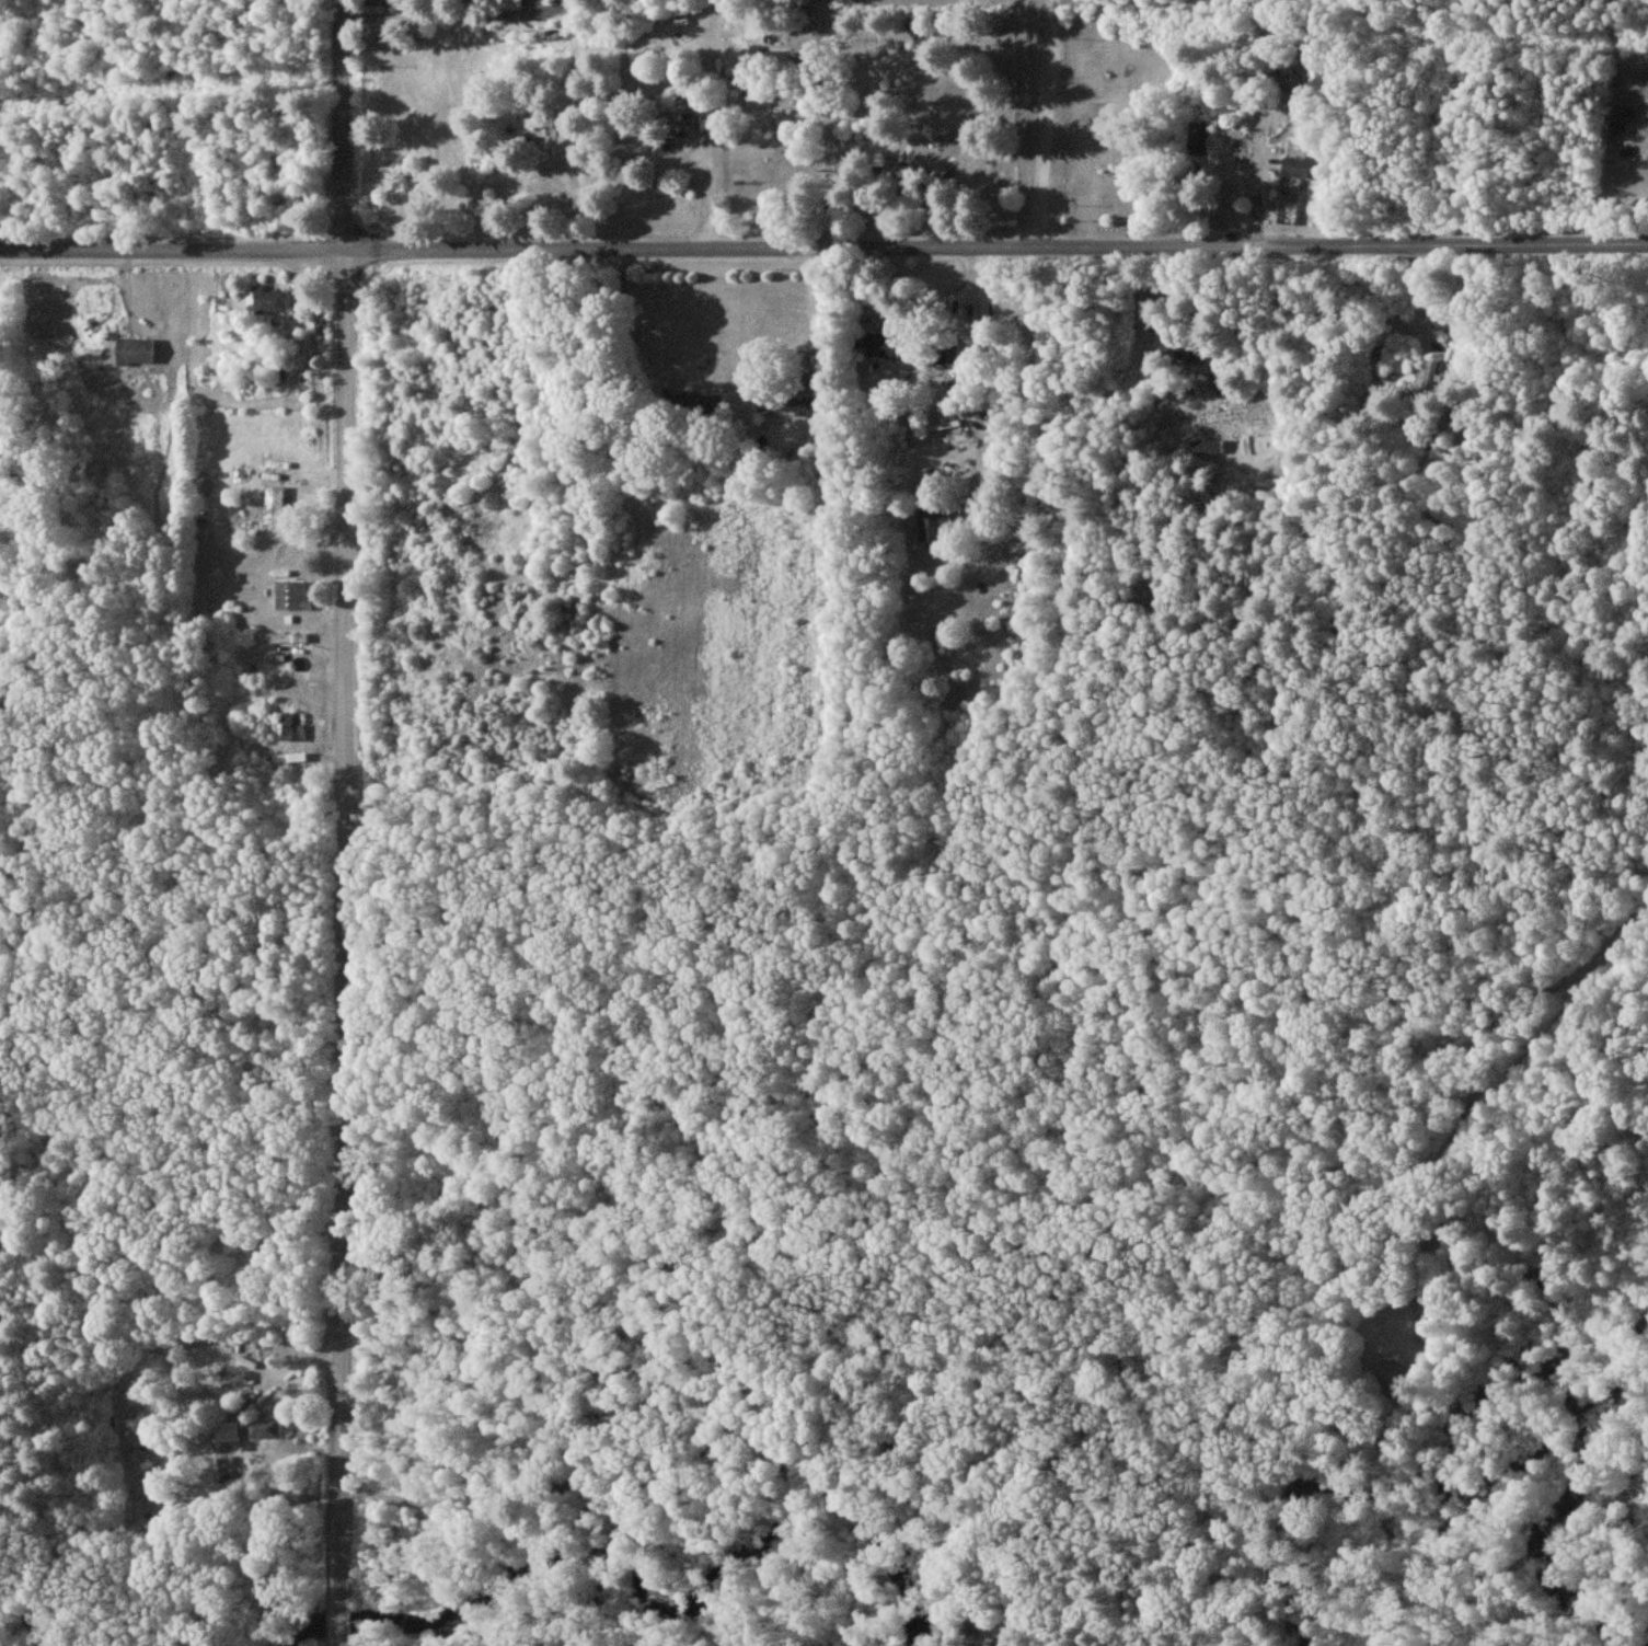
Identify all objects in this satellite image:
road: (434, 16)
building: (764, 57)
building: (539, 122)
road: (826, 124)
road: (1037, 124)
building: (1198, 139)
building: (1300, 168)
road: (1256, 174)
road: (715, 188)
road: (823, 248)
building: (267, 301)
road: (819, 313)
road: (631, 319)
building: (883, 345)
building: (1180, 350)
building: (131, 352)
building: (698, 403)
building: (784, 405)
building: (273, 506)
building: (930, 525)
building: (290, 597)
building: (291, 726)
road: (343, 822)
road: (1484, 1062)
building: (1428, 1322)
building: (1395, 1377)
building: (264, 1428)
building: (227, 1431)

